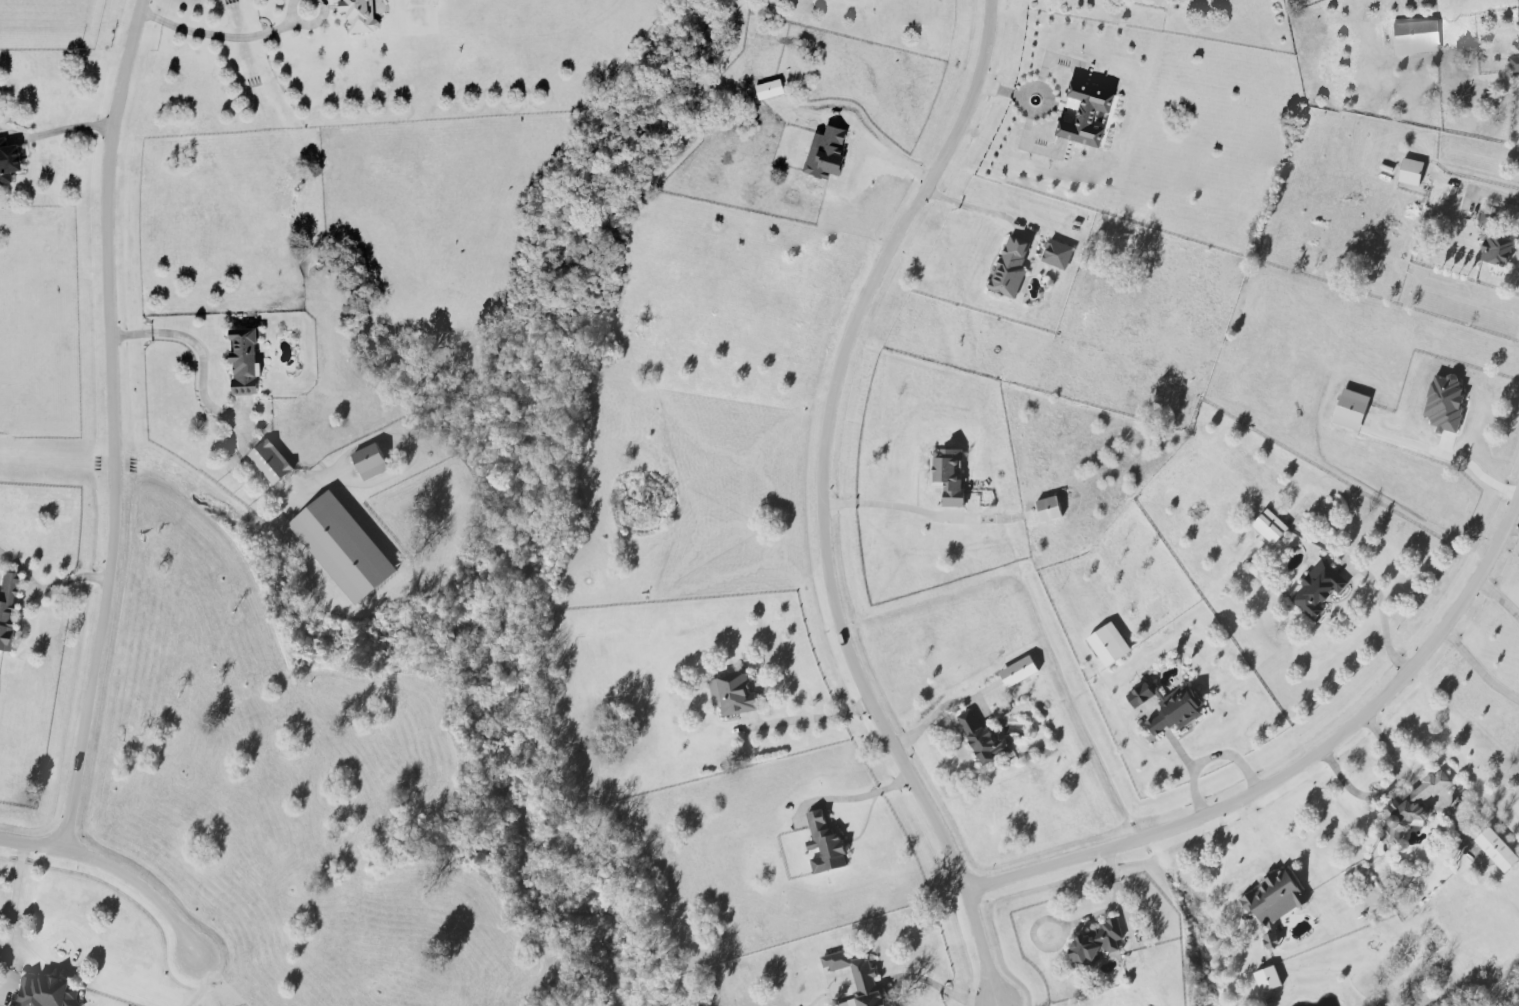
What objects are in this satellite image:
building: (1518, 10)
building: (358, 14)
road: (220, 32)
building: (1415, 36)
building: (1517, 40)
building: (1515, 63)
building: (768, 86)
building: (1085, 112)
road: (58, 129)
road: (880, 145)
building: (825, 150)
building: (9, 158)
building: (1412, 172)
road: (1504, 197)
road: (969, 205)
building: (1488, 218)
building: (1497, 250)
building: (1058, 254)
building: (1011, 268)
road: (193, 346)
building: (244, 357)
building: (1445, 403)
building: (1352, 409)
road: (109, 425)
building: (272, 462)
building: (371, 462)
building: (949, 475)
road: (1477, 478)
road: (819, 502)
road: (882, 504)
building: (1050, 509)
building: (1271, 527)
road: (1514, 528)
building: (344, 547)
road: (60, 582)
building: (1320, 589)
road: (1500, 598)
building: (6, 609)
road: (1384, 619)
building: (1110, 645)
road: (1479, 668)
building: (1020, 672)
building: (734, 695)
building: (1141, 695)
building: (1176, 710)
road: (819, 718)
road: (928, 722)
building: (983, 739)
road: (1209, 759)
road: (1293, 771)
road: (1388, 789)
road: (863, 795)
building: (1412, 807)
building: (825, 844)
building: (1498, 849)
road: (1220, 868)
road: (114, 872)
building: (1275, 903)
road: (14, 908)
building: (1096, 945)
road: (70, 962)
building: (859, 978)
building: (1269, 979)
road: (945, 989)
building: (44, 992)

